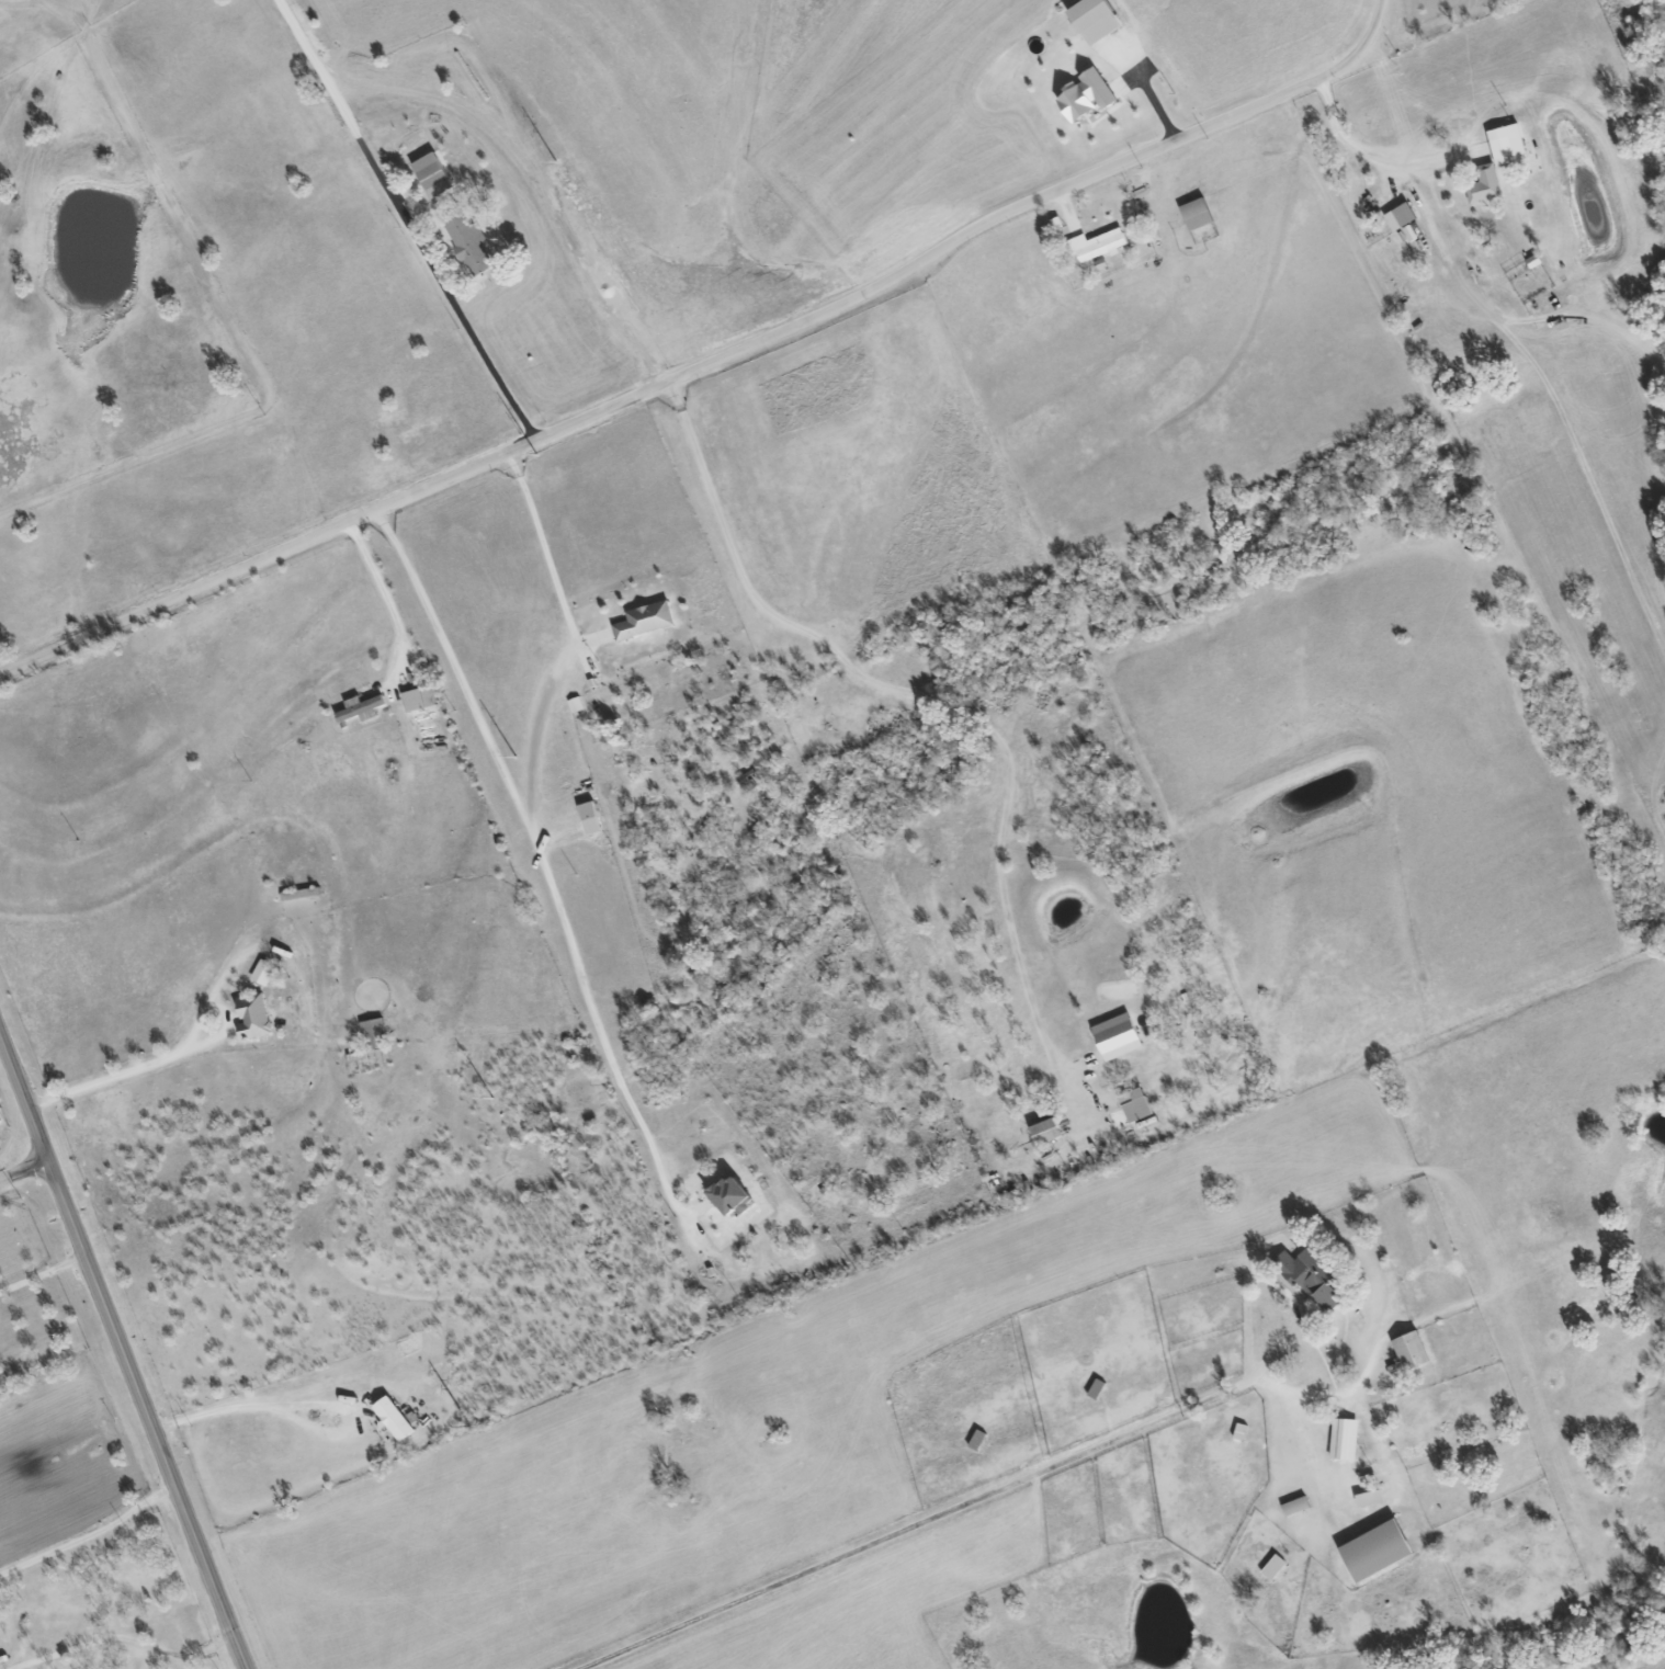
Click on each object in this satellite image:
building: (1098, 19)
building: (1088, 95)
building: (1509, 144)
road: (1364, 150)
power tower: (554, 163)
building: (434, 174)
building: (1486, 185)
building: (1199, 214)
building: (1403, 216)
road: (403, 219)
building: (472, 245)
building: (1101, 245)
road: (712, 361)
power tower: (534, 455)
road: (542, 546)
road: (386, 599)
building: (646, 620)
road: (918, 696)
building: (420, 699)
building: (576, 705)
building: (362, 708)
power tower: (512, 757)
building: (592, 818)
road: (544, 868)
building: (264, 973)
road: (206, 998)
building: (254, 1017)
building: (375, 1034)
building: (1119, 1036)
road: (124, 1071)
power tower: (490, 1101)
building: (1136, 1105)
building: (1047, 1132)
road: (25, 1170)
building: (733, 1195)
building: (1311, 1274)
road: (44, 1275)
road: (123, 1349)
building: (1414, 1351)
building: (1098, 1388)
road: (1347, 1399)
road: (310, 1403)
building: (395, 1419)
power tower: (467, 1428)
building: (1242, 1431)
building: (979, 1439)
building: (1346, 1439)
building: (1372, 1498)
building: (1298, 1506)
road: (945, 1510)
road: (91, 1539)
building: (1380, 1551)
building: (1276, 1567)
road: (132, 1645)

